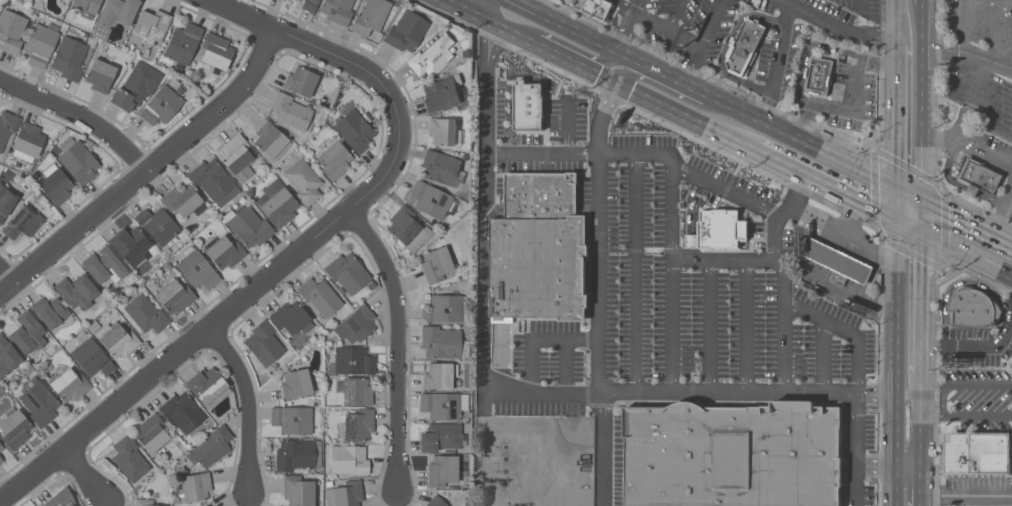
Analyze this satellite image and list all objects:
road: (785, 1)
road: (921, 2)
building: (86, 5)
building: (309, 5)
road: (628, 5)
road: (637, 5)
road: (788, 5)
road: (964, 6)
road: (460, 8)
road: (483, 8)
building: (598, 8)
building: (337, 10)
building: (114, 15)
building: (371, 16)
road: (899, 21)
road: (566, 25)
building: (149, 27)
building: (11, 30)
road: (626, 30)
building: (405, 31)
road: (998, 31)
road: (964, 32)
road: (699, 40)
building: (39, 44)
building: (182, 44)
road: (567, 46)
building: (744, 48)
building: (216, 50)
road: (547, 50)
road: (967, 53)
building: (432, 56)
building: (69, 57)
road: (338, 60)
building: (100, 74)
building: (818, 75)
building: (300, 81)
building: (132, 89)
road: (666, 90)
building: (443, 93)
road: (851, 100)
road: (921, 101)
building: (161, 105)
building: (528, 106)
road: (966, 106)
building: (290, 111)
road: (898, 115)
road: (84, 116)
road: (685, 117)
road: (757, 119)
road: (960, 122)
building: (7, 125)
building: (354, 130)
building: (443, 130)
building: (271, 140)
building: (28, 141)
road: (968, 145)
road: (544, 151)
building: (237, 157)
building: (334, 159)
building: (77, 160)
building: (441, 167)
building: (979, 176)
road: (151, 179)
building: (303, 180)
building: (213, 181)
road: (714, 182)
building: (55, 185)
road: (824, 185)
traffic signals: (897, 187)
road: (602, 192)
road: (909, 193)
building: (540, 194)
building: (183, 199)
building: (430, 199)
building: (6, 200)
traffic signals: (922, 200)
road: (896, 203)
building: (279, 207)
road: (668, 209)
road: (1001, 211)
road: (921, 216)
road: (831, 217)
traffic signals: (896, 220)
road: (967, 221)
building: (22, 222)
building: (158, 224)
building: (248, 225)
road: (908, 226)
building: (408, 228)
building: (720, 230)
traffic signals: (921, 232)
building: (132, 245)
road: (864, 249)
building: (225, 251)
road: (966, 254)
road: (723, 258)
building: (837, 261)
building: (103, 264)
building: (436, 264)
road: (482, 264)
building: (197, 268)
building: (540, 269)
building: (347, 272)
road: (633, 274)
road: (921, 274)
road: (10, 278)
building: (77, 290)
building: (175, 295)
building: (319, 295)
road: (780, 301)
building: (445, 308)
building: (973, 308)
building: (50, 311)
building: (146, 313)
building: (289, 317)
building: (356, 324)
road: (669, 325)
road: (707, 325)
road: (743, 325)
building: (27, 332)
road: (538, 338)
building: (117, 339)
road: (199, 340)
road: (403, 341)
road: (897, 341)
building: (442, 342)
building: (264, 343)
road: (920, 346)
building: (7, 355)
building: (91, 357)
building: (353, 360)
building: (440, 375)
building: (296, 383)
building: (69, 384)
road: (966, 384)
building: (207, 386)
building: (356, 391)
road: (792, 393)
road: (645, 394)
building: (39, 403)
road: (253, 404)
building: (443, 405)
road: (602, 405)
building: (183, 412)
road: (966, 416)
road: (919, 418)
building: (292, 419)
building: (359, 424)
building: (15, 429)
building: (151, 432)
building: (442, 437)
building: (1, 446)
building: (211, 446)
road: (852, 449)
building: (978, 453)
building: (298, 454)
building: (734, 454)
building: (129, 458)
building: (1, 459)
building: (348, 459)
road: (874, 462)
road: (907, 462)
building: (442, 469)
road: (88, 479)
petroleum well: (495, 483)
road: (896, 484)
road: (919, 484)
building: (195, 486)
building: (297, 490)
building: (348, 493)
road: (965, 494)
building: (60, 498)
building: (143, 502)
building: (436, 502)
building: (206, 505)
building: (278, 505)

